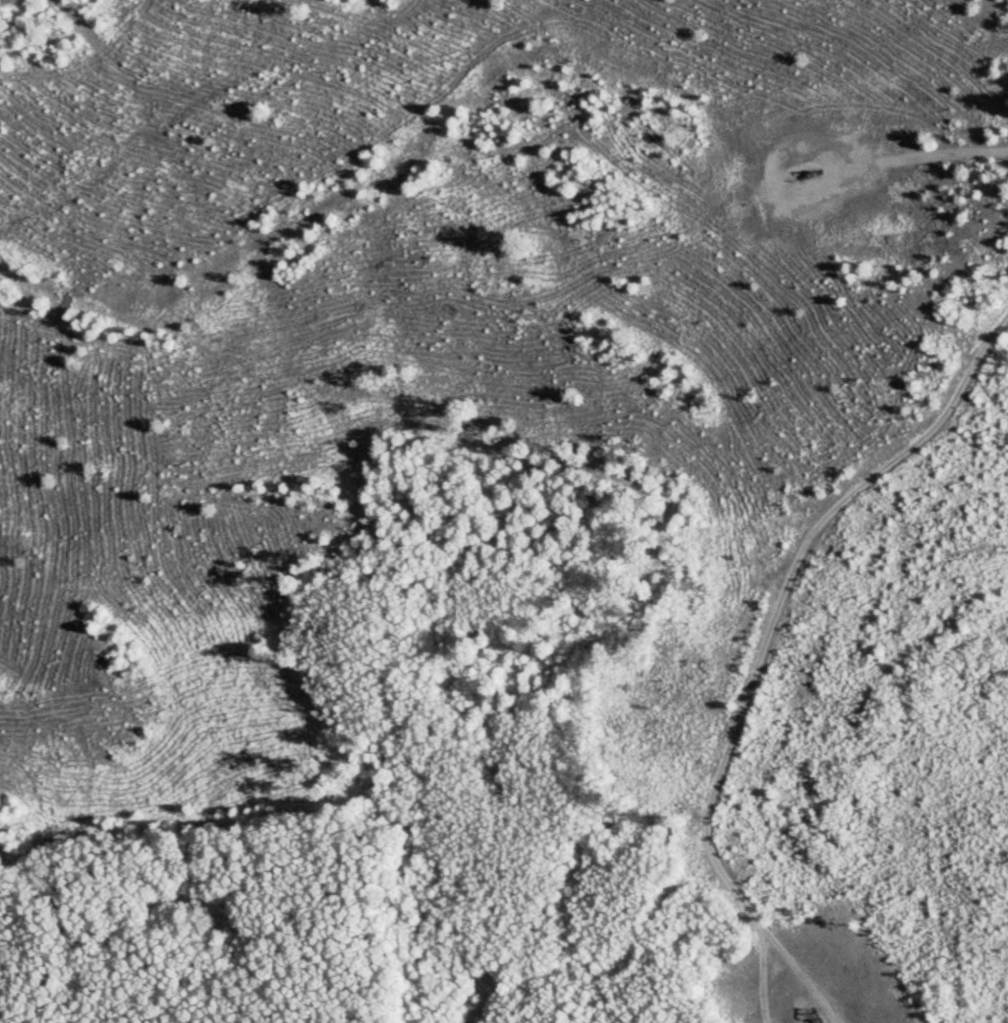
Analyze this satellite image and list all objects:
road: (947, 161)
petroleum well: (807, 171)
road: (767, 632)
petroleum well: (818, 1019)

